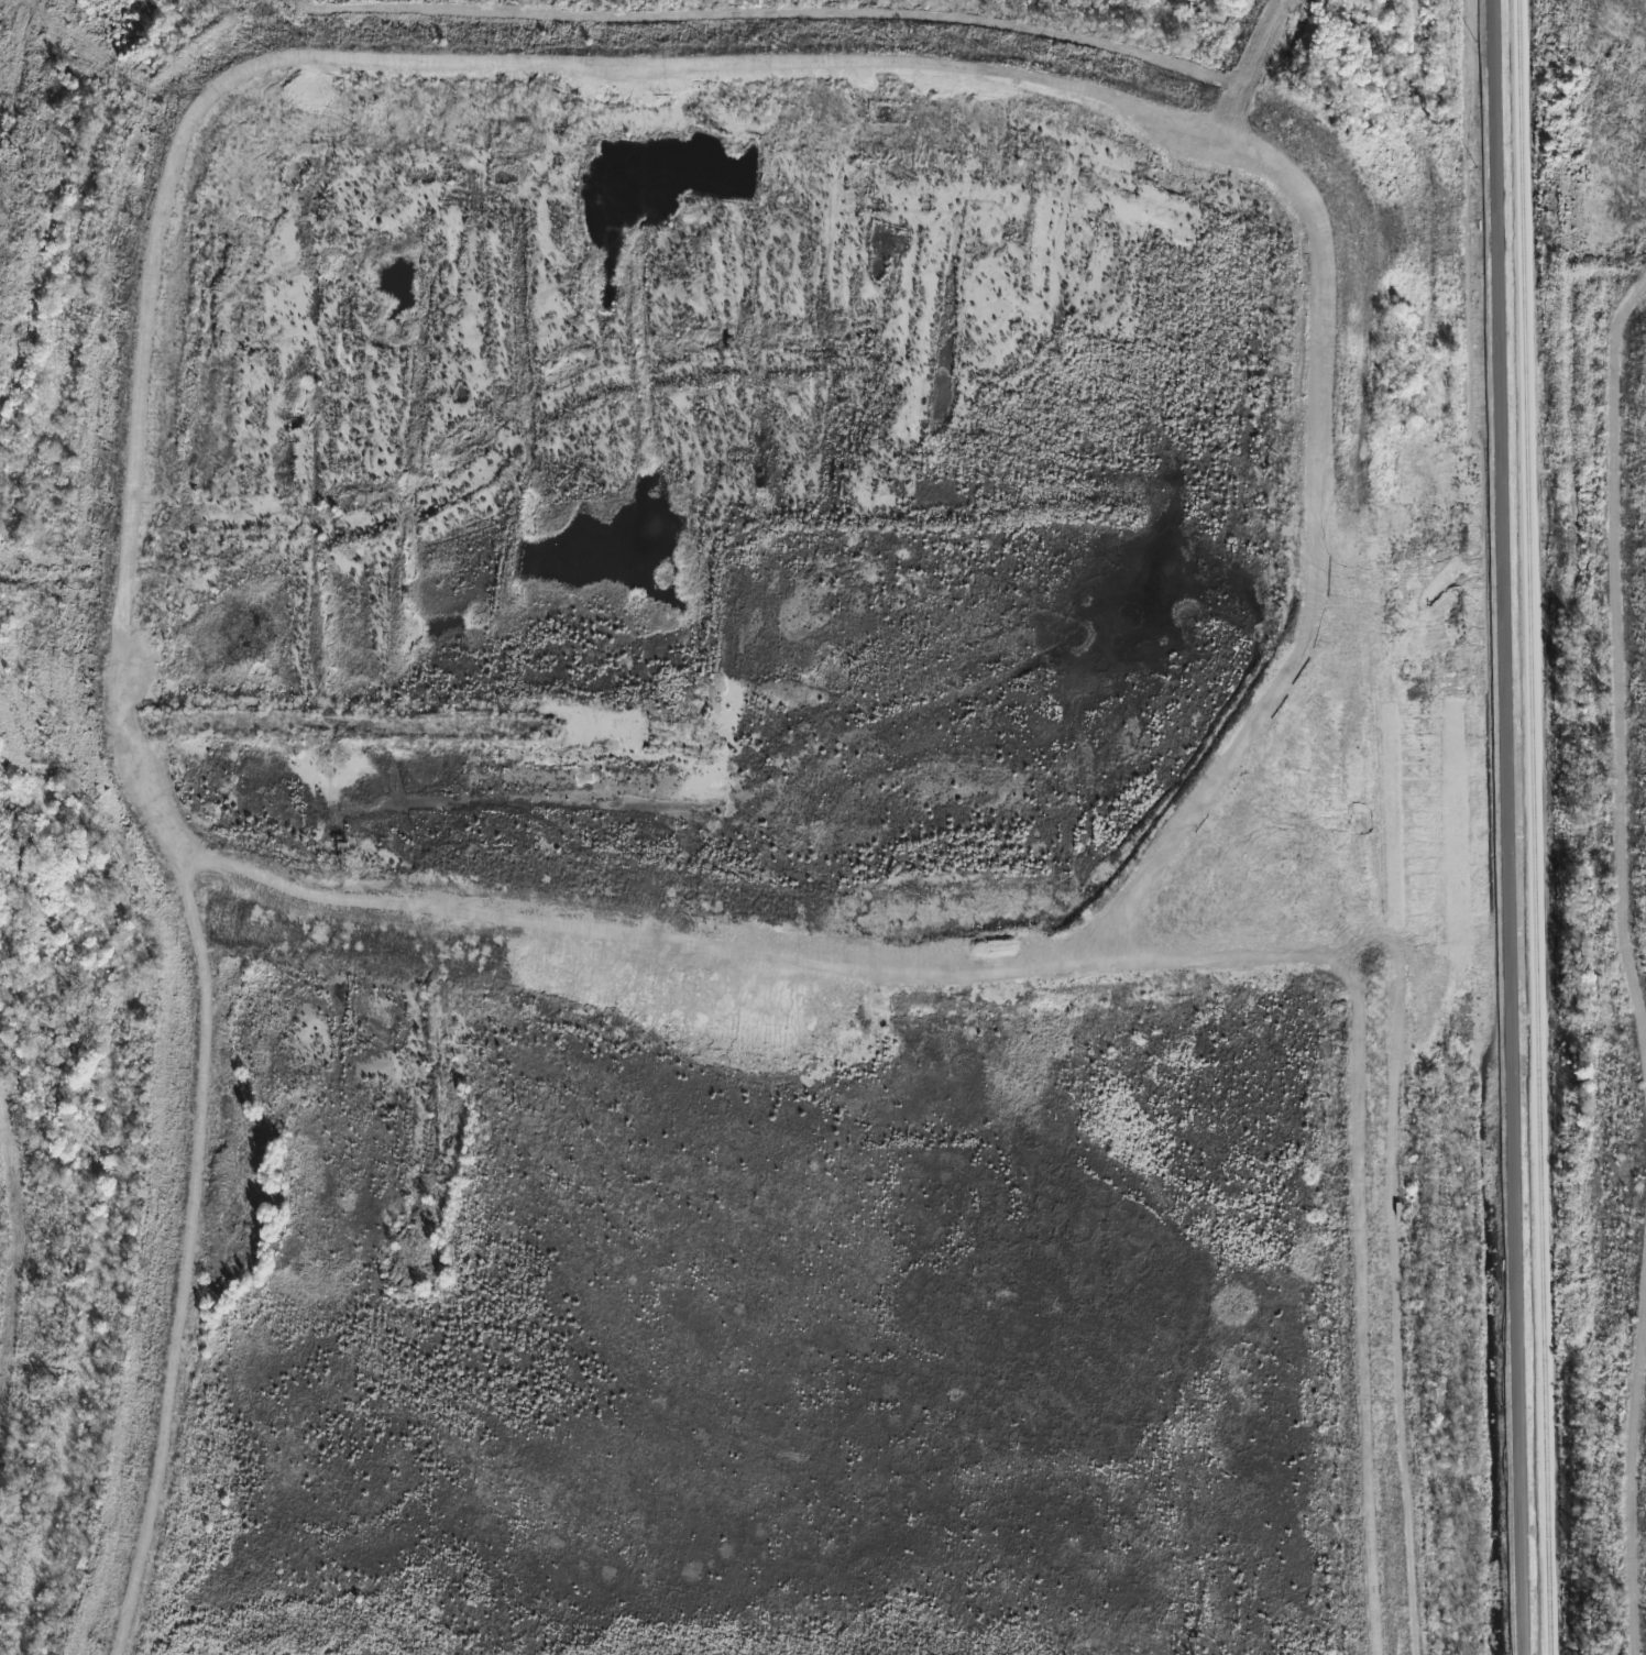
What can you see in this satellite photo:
road: (1128, 41)
road: (1272, 50)
road: (1511, 827)
railway: (1533, 827)
road: (480, 962)
road: (1405, 1309)

